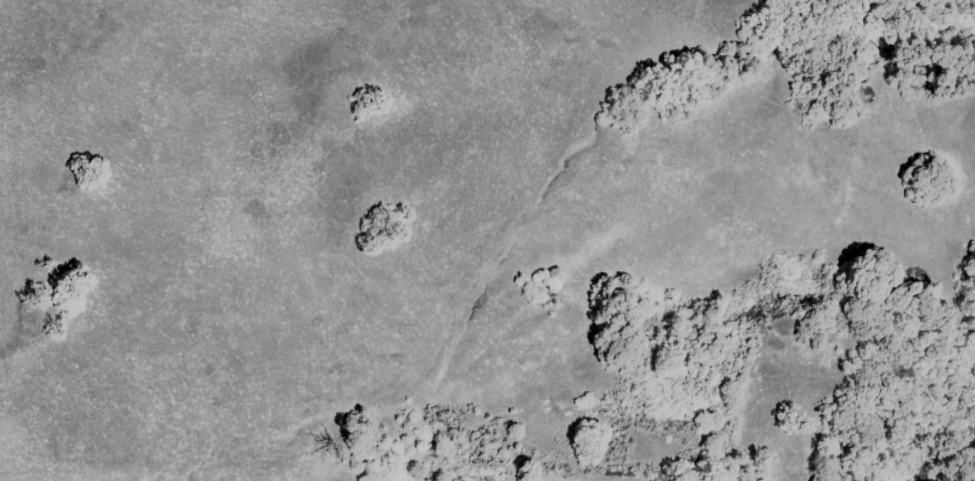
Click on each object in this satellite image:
road: (233, 207)

